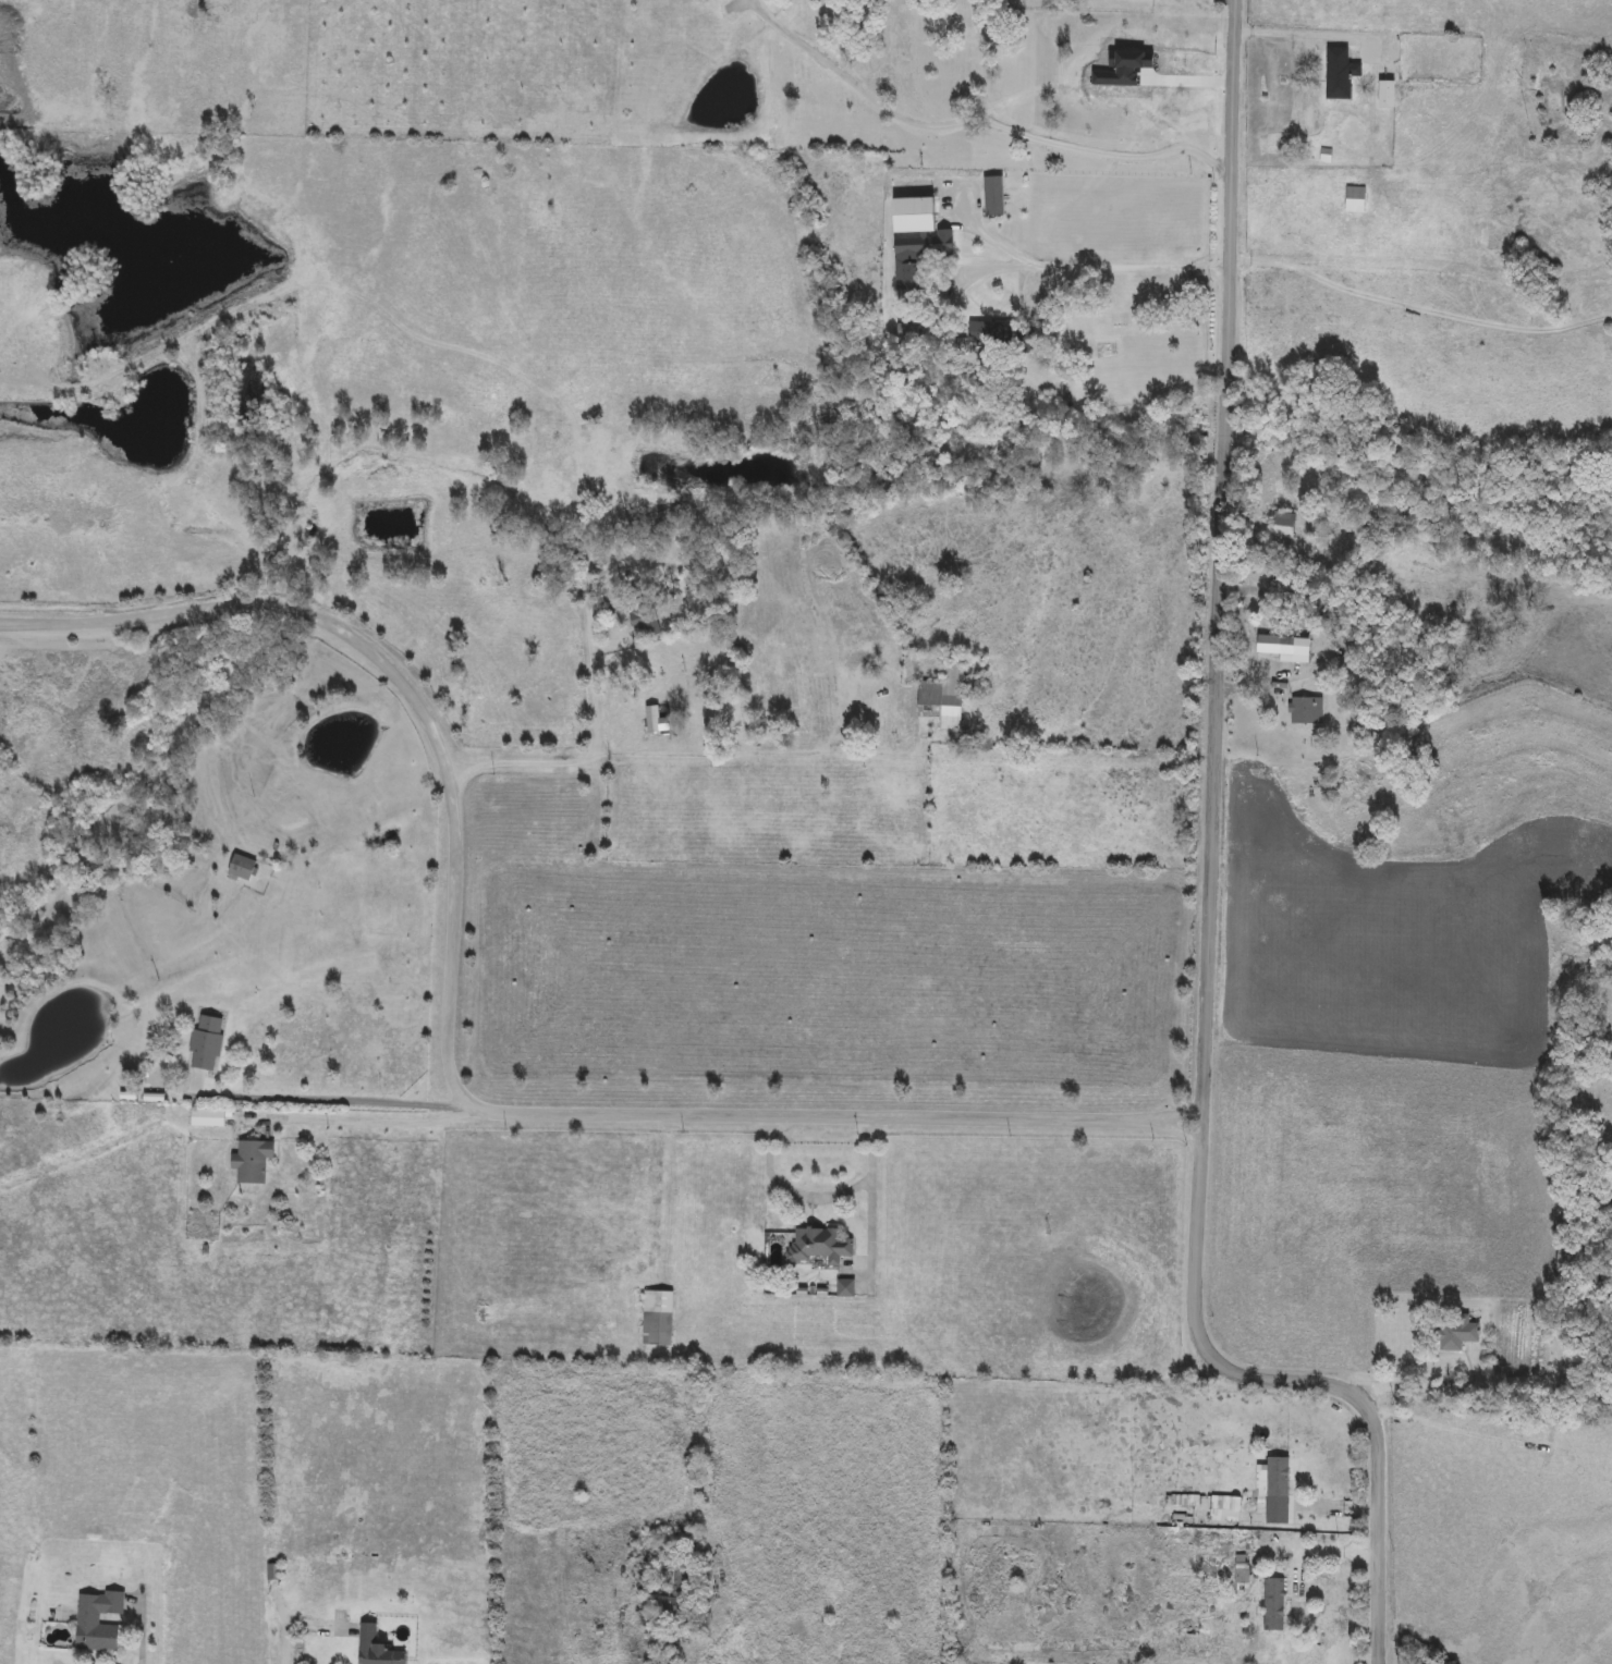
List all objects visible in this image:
building: (831, 15)
road: (1310, 37)
building: (1339, 74)
building: (1390, 99)
road: (982, 112)
road: (1080, 148)
building: (1324, 157)
building: (1355, 200)
building: (916, 241)
road: (1076, 267)
building: (989, 334)
building: (1283, 525)
building: (645, 622)
road: (1317, 643)
building: (1285, 649)
building: (943, 699)
building: (1306, 712)
building: (652, 721)
building: (195, 723)
road: (767, 751)
road: (586, 756)
building: (242, 869)
road: (1209, 894)
building: (206, 1043)
road: (447, 1043)
road: (333, 1102)
building: (208, 1121)
road: (366, 1123)
building: (252, 1162)
road: (816, 1199)
building: (818, 1246)
building: (1565, 1260)
building: (845, 1289)
building: (657, 1319)
building: (1456, 1334)
road: (1474, 1396)
building: (1278, 1478)
building: (671, 1592)
building: (1273, 1605)
building: (97, 1623)
building: (367, 1637)
road: (284, 1650)

